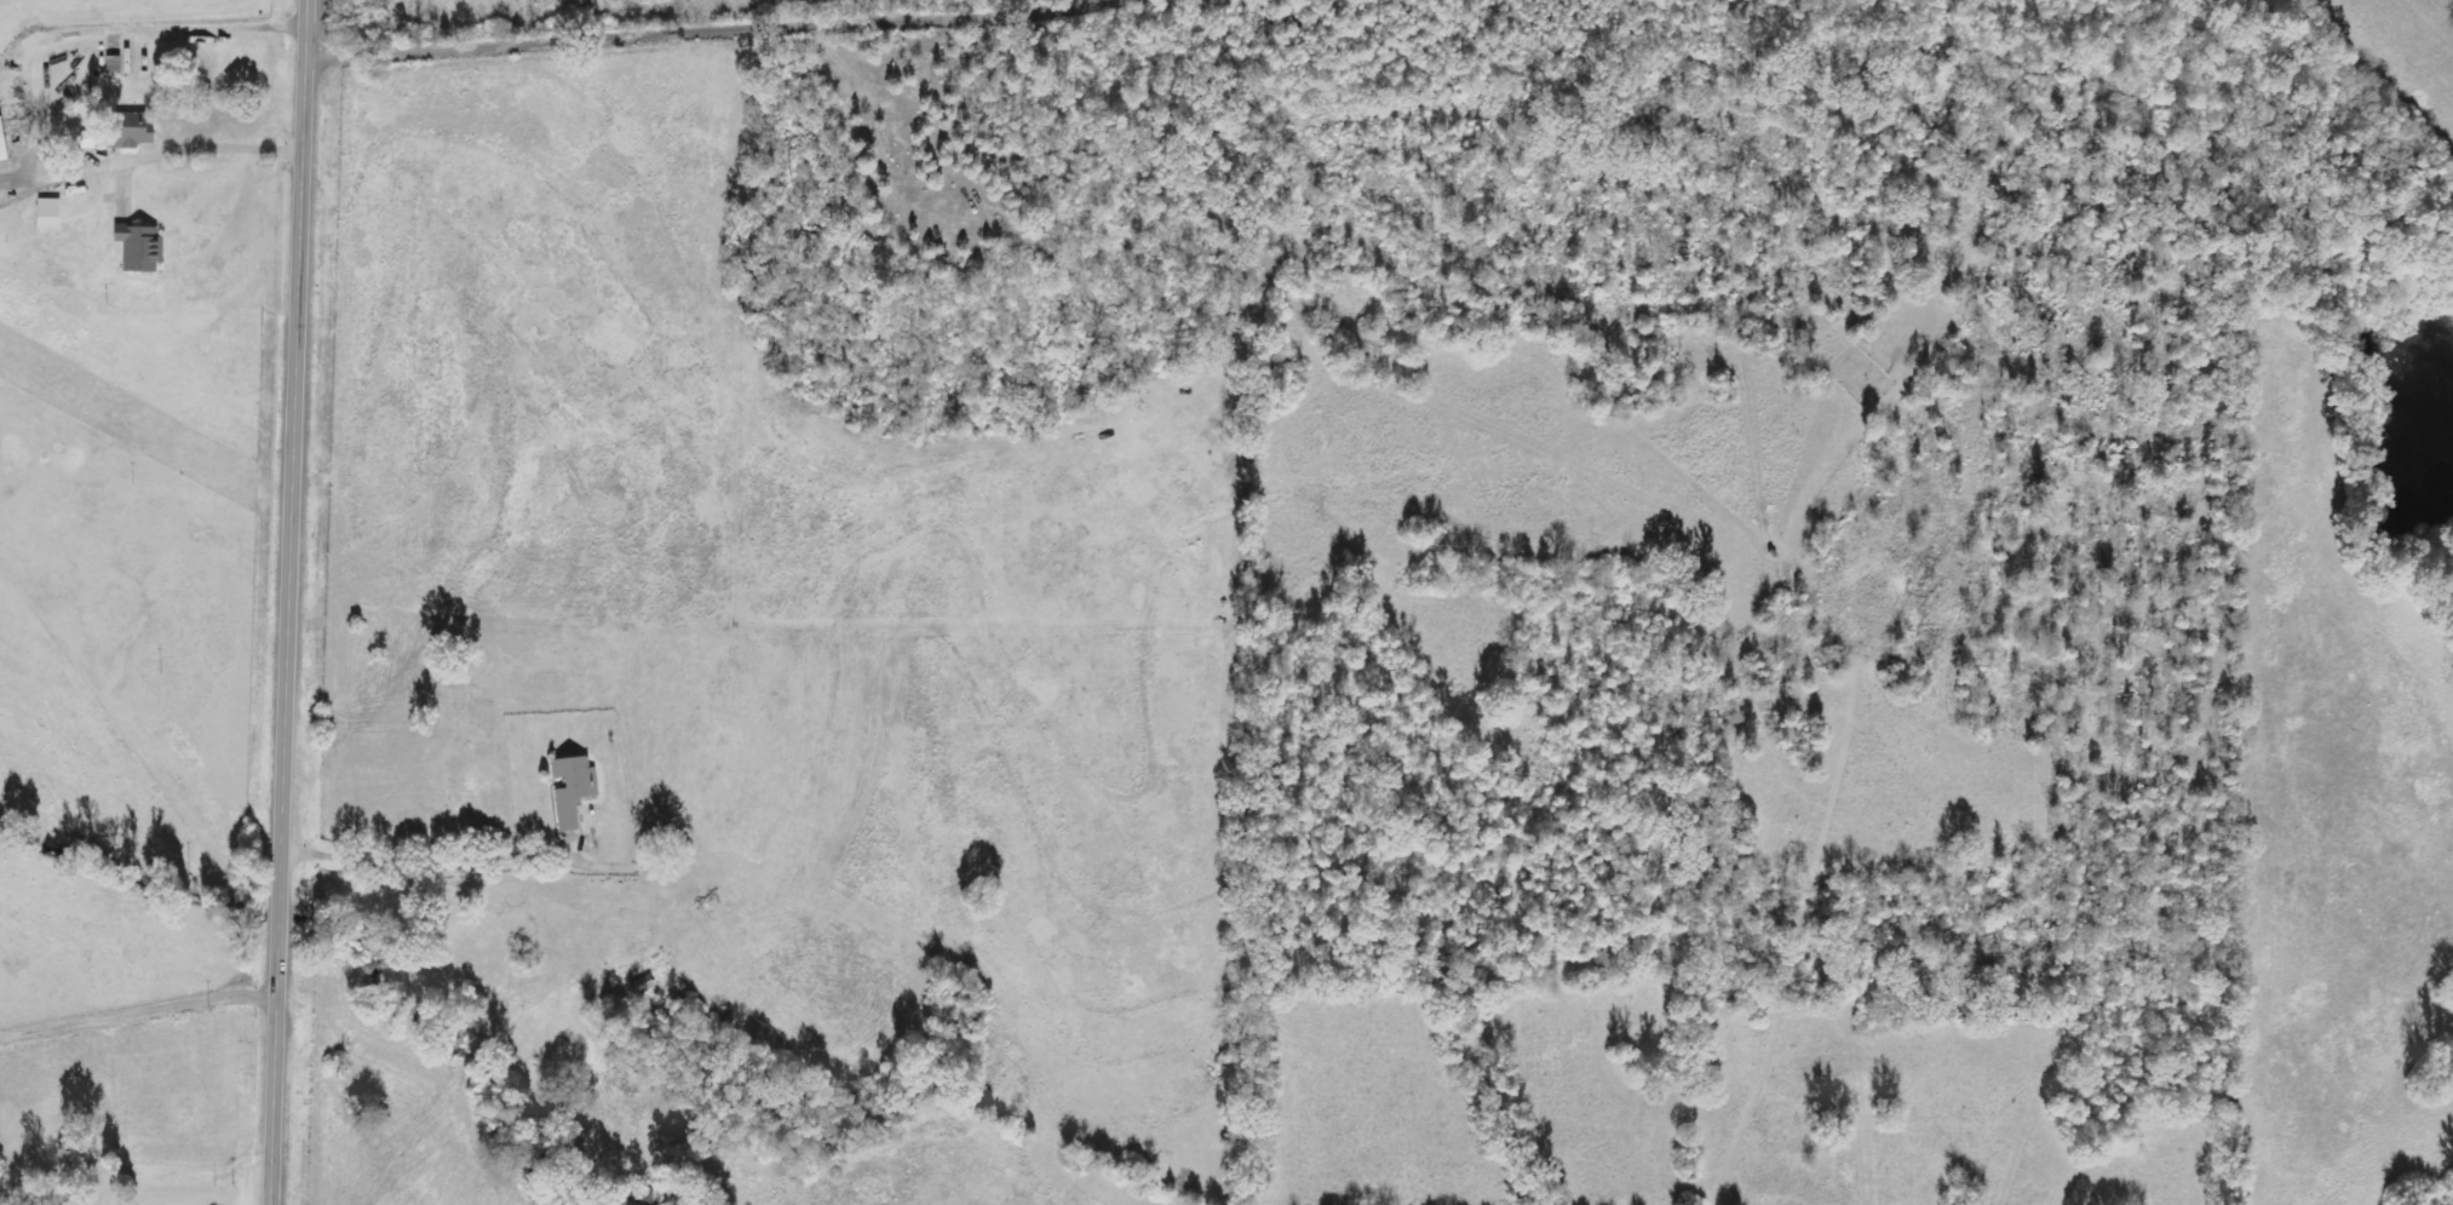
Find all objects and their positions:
road: (711, 30)
road: (39, 121)
building: (130, 132)
building: (91, 139)
building: (4, 142)
building: (143, 247)
road: (287, 602)
building: (574, 791)
road: (423, 856)
building: (644, 985)

